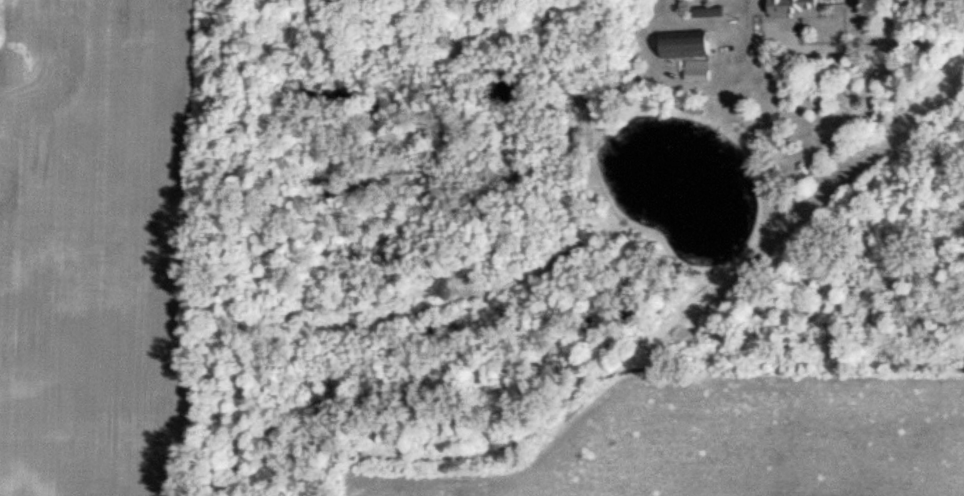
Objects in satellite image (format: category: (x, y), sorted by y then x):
building: (792, 9)
road: (741, 18)
building: (683, 45)

